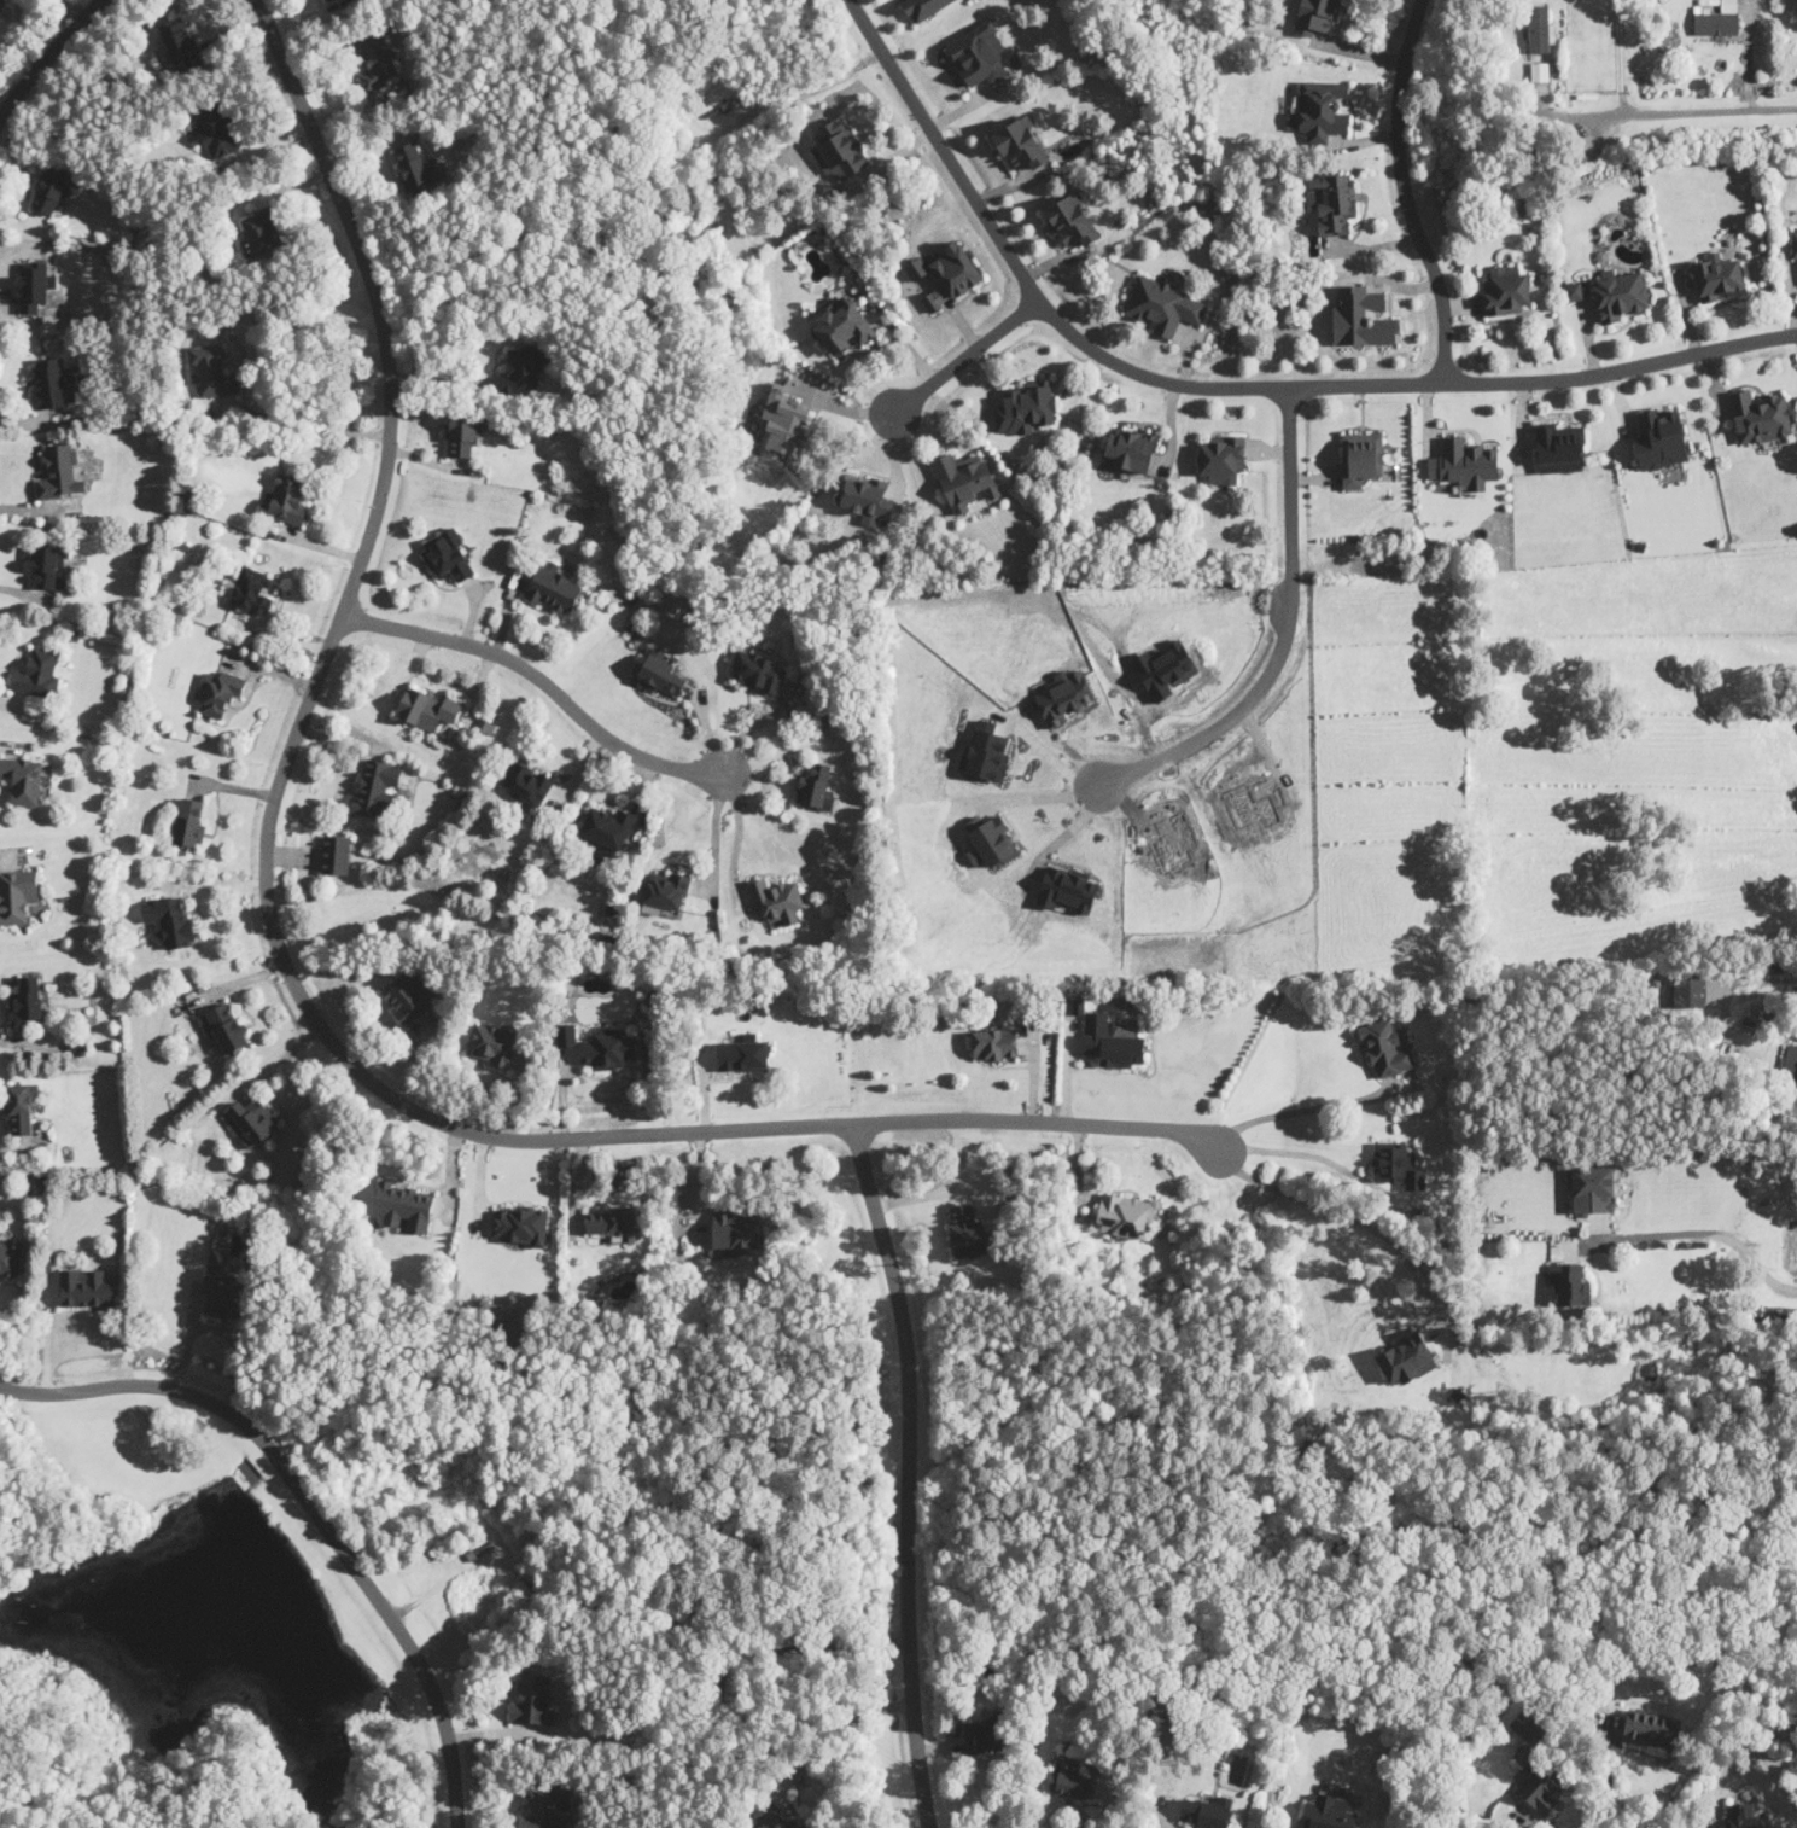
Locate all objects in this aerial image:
building: (5, 5)
building: (922, 7)
building: (1317, 17)
building: (1713, 17)
building: (1541, 27)
building: (181, 42)
road: (45, 53)
building: (979, 54)
road: (1621, 57)
building: (375, 59)
building: (1540, 70)
building: (1324, 109)
road: (1684, 113)
building: (217, 128)
building: (1021, 142)
building: (839, 149)
building: (414, 164)
building: (52, 188)
road: (1408, 192)
building: (1332, 203)
building: (1070, 221)
building: (262, 229)
building: (1793, 241)
building: (946, 273)
building: (1719, 276)
building: (33, 286)
building: (1506, 290)
building: (1573, 292)
building: (1621, 295)
building: (1163, 303)
building: (1361, 315)
building: (844, 322)
road: (968, 356)
building: (211, 369)
building: (521, 369)
building: (51, 382)
road: (1229, 386)
building: (1025, 407)
building: (1760, 415)
building: (788, 420)
road: (317, 427)
building: (465, 432)
building: (1661, 437)
building: (1562, 444)
building: (1130, 448)
building: (1223, 456)
building: (1361, 458)
building: (1464, 461)
building: (60, 471)
building: (964, 478)
road: (1290, 481)
building: (865, 496)
building: (286, 497)
building: (448, 554)
building: (49, 564)
building: (554, 587)
building: (252, 589)
building: (759, 670)
building: (41, 673)
building: (661, 673)
road: (543, 679)
building: (220, 692)
building: (427, 708)
road: (1232, 708)
building: (986, 753)
building: (24, 778)
building: (526, 781)
building: (816, 786)
building: (377, 788)
building: (191, 820)
building: (608, 831)
road: (717, 836)
road: (739, 839)
building: (991, 844)
building: (336, 854)
building: (1067, 889)
building: (666, 890)
building: (17, 893)
building: (777, 898)
building: (170, 920)
road: (285, 965)
road: (1778, 982)
building: (1690, 990)
building: (408, 995)
building: (25, 1000)
building: (224, 1027)
building: (566, 1035)
building: (994, 1042)
building: (491, 1043)
building: (608, 1047)
building: (1385, 1048)
building: (1116, 1049)
building: (742, 1054)
building: (1790, 1065)
building: (21, 1106)
road: (1303, 1108)
building: (252, 1119)
road: (1319, 1157)
building: (1396, 1164)
road: (950, 1189)
building: (1593, 1189)
building: (404, 1205)
building: (1126, 1213)
road: (1350, 1217)
building: (612, 1222)
building: (520, 1224)
building: (967, 1229)
building: (736, 1233)
road: (1694, 1233)
building: (1791, 1245)
building: (10, 1256)
building: (1570, 1282)
building: (86, 1288)
building: (228, 1296)
building: (1405, 1357)
road: (909, 1472)
road: (311, 1504)
building: (533, 1696)
building: (1525, 1724)
road: (841, 1727)
building: (1652, 1729)
building: (982, 1735)
building: (1069, 1777)
road: (1612, 1782)
building: (548, 1805)
building: (1208, 1811)
building: (1329, 1812)
building: (771, 1814)

